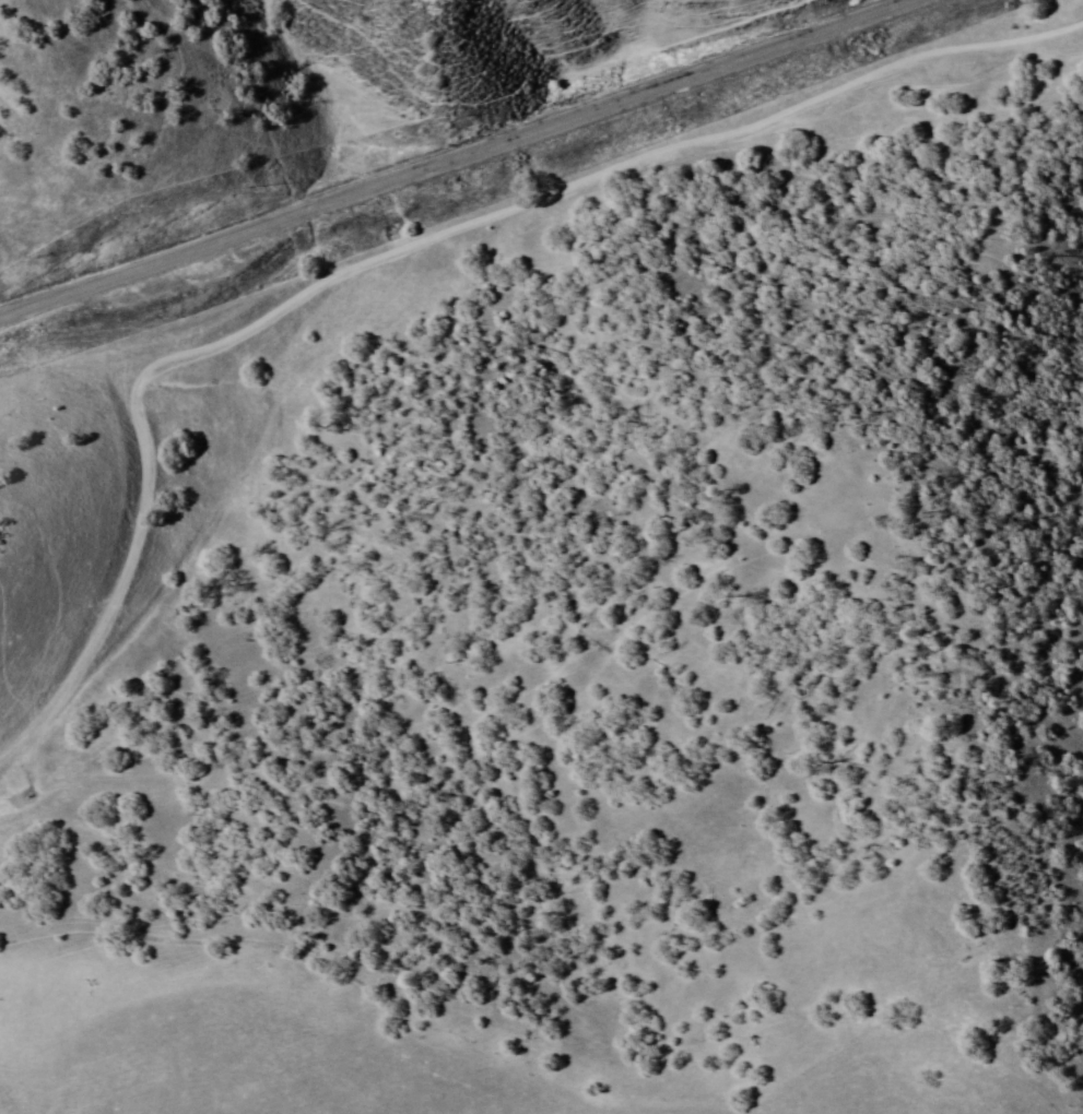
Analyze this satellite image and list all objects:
road: (458, 158)
road: (398, 247)
road: (184, 266)

